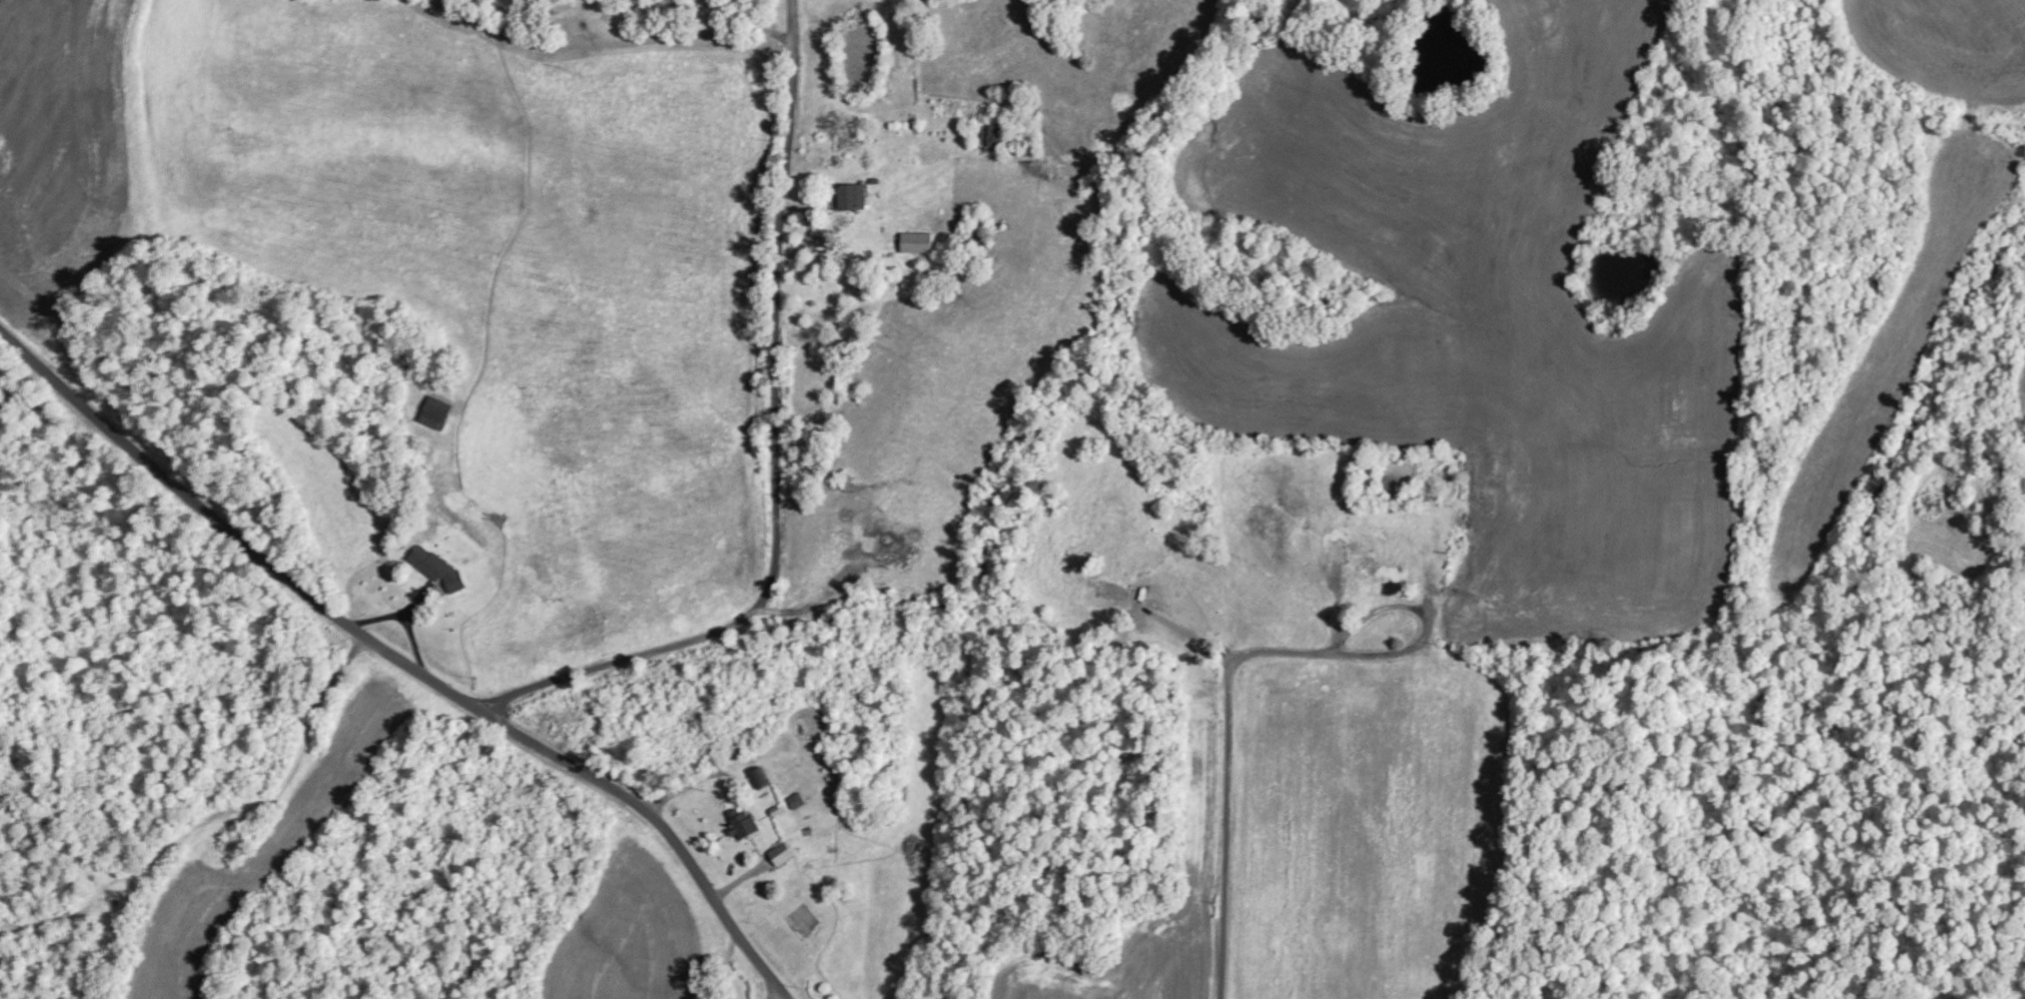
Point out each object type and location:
building: (851, 197)
building: (917, 242)
building: (435, 413)
road: (779, 454)
building: (436, 568)
road: (403, 660)
road: (1230, 712)
building: (760, 777)
building: (798, 801)
building: (742, 823)
building: (782, 854)
road: (782, 997)

